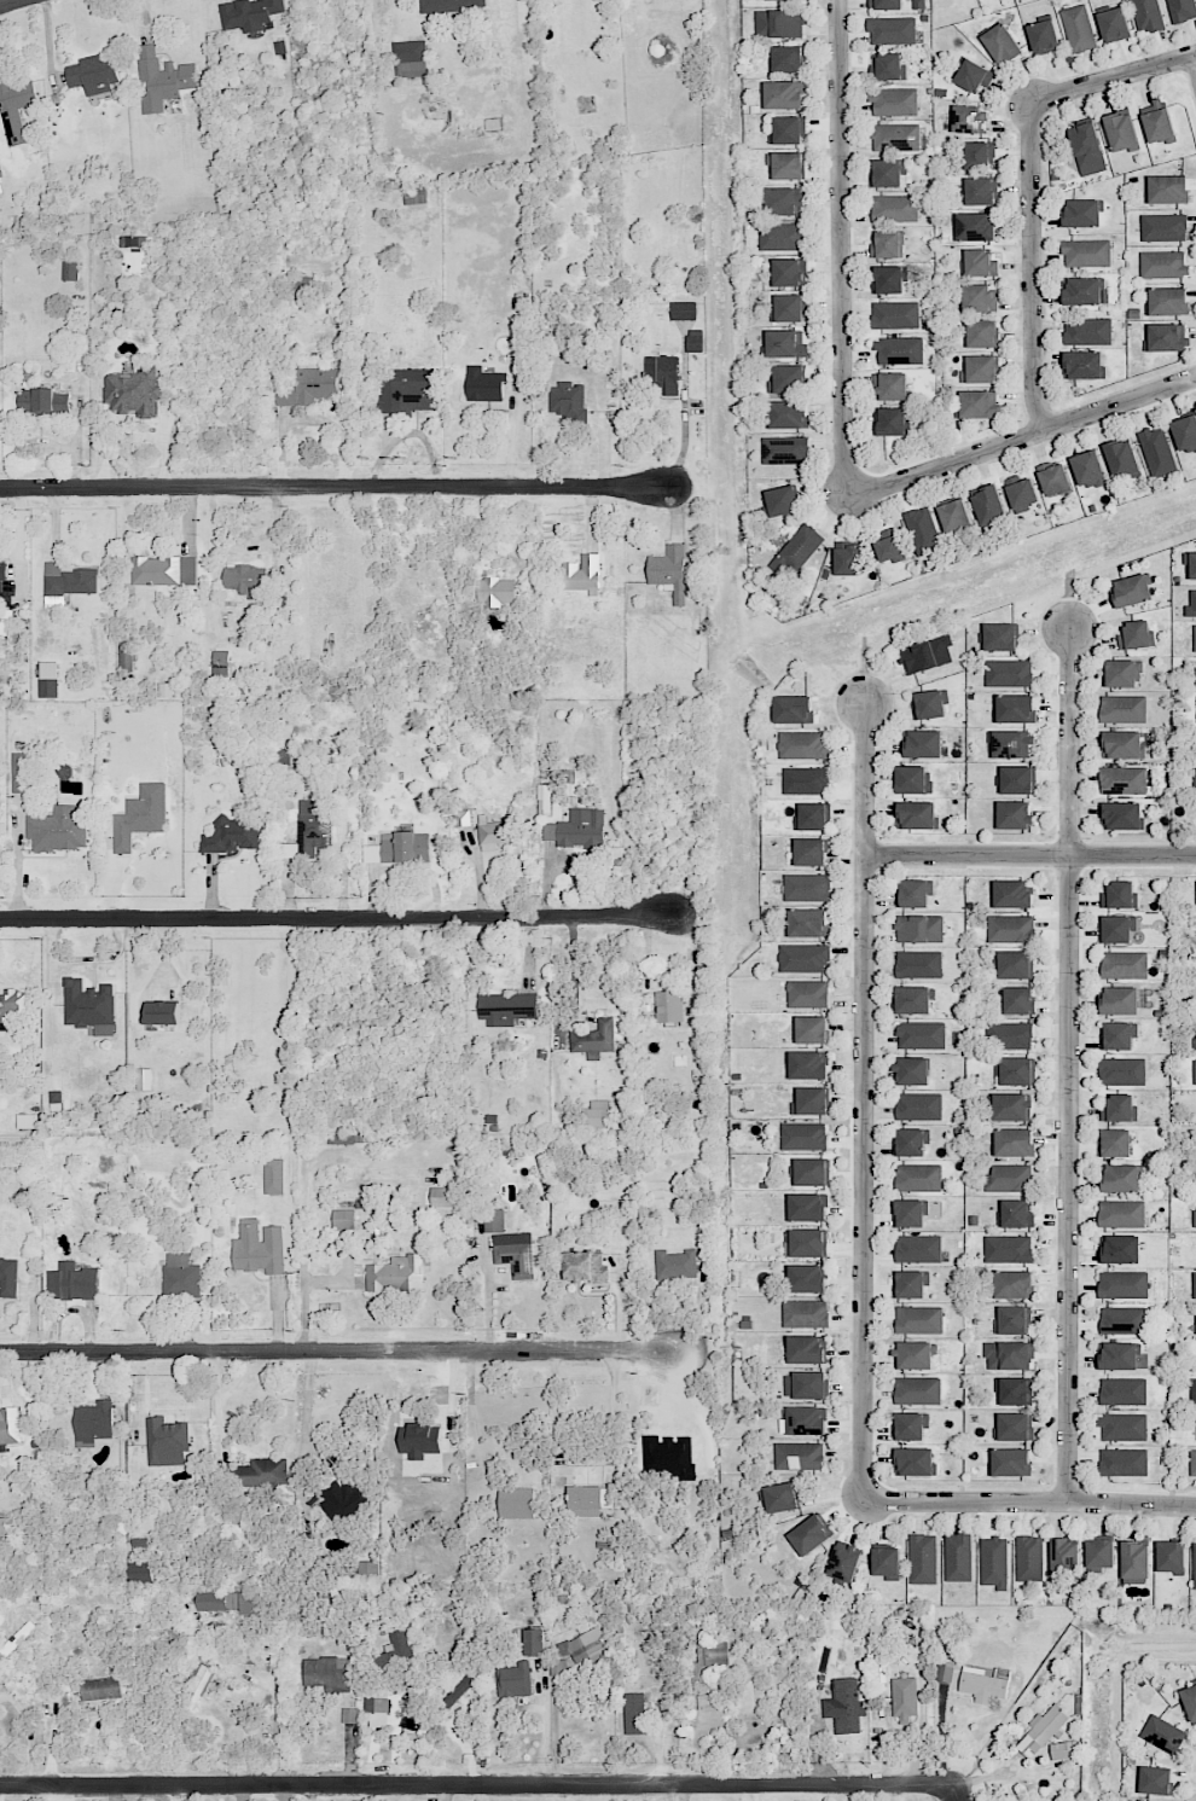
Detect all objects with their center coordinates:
building: (773, 0)
road: (10, 2)
road: (399, 4)
building: (451, 5)
building: (886, 5)
building: (1182, 10)
building: (250, 13)
building: (1146, 14)
building: (779, 24)
building: (1114, 24)
building: (1078, 28)
building: (892, 30)
building: (1044, 36)
building: (1001, 43)
building: (410, 58)
building: (788, 59)
building: (888, 66)
building: (93, 74)
building: (974, 76)
building: (162, 79)
building: (782, 94)
building: (894, 101)
building: (16, 106)
building: (969, 118)
building: (1156, 121)
building: (785, 130)
building: (1121, 132)
building: (895, 136)
building: (1087, 147)
building: (976, 155)
building: (785, 164)
building: (887, 173)
road: (1030, 181)
building: (0, 182)
building: (1167, 188)
building: (979, 191)
building: (414, 196)
building: (782, 202)
building: (894, 208)
building: (1081, 213)
building: (975, 226)
building: (1163, 227)
building: (782, 236)
building: (887, 244)
road: (841, 245)
building: (1086, 252)
building: (979, 262)
building: (1163, 265)
building: (789, 272)
building: (888, 279)
building: (300, 285)
building: (1084, 291)
building: (979, 298)
building: (788, 308)
building: (683, 310)
building: (895, 314)
building: (1087, 331)
building: (982, 333)
building: (1166, 337)
building: (695, 339)
building: (784, 344)
building: (899, 350)
building: (1084, 365)
building: (981, 368)
building: (663, 373)
building: (786, 379)
building: (484, 384)
building: (308, 387)
building: (893, 387)
building: (406, 391)
building: (134, 393)
building: (42, 400)
building: (569, 402)
building: (979, 403)
building: (789, 414)
building: (890, 422)
building: (1185, 434)
road: (1024, 437)
building: (784, 451)
building: (1157, 452)
building: (1122, 458)
building: (1087, 469)
building: (1053, 477)
road: (332, 490)
building: (1021, 492)
building: (782, 500)
building: (988, 506)
building: (954, 516)
building: (922, 530)
building: (889, 544)
building: (800, 547)
building: (848, 559)
building: (1191, 565)
building: (163, 570)
building: (669, 570)
building: (2, 571)
building: (582, 574)
building: (245, 579)
building: (66, 582)
building: (495, 591)
building: (1131, 591)
building: (1191, 604)
building: (1134, 634)
building: (1000, 637)
building: (1195, 638)
building: (927, 655)
building: (124, 656)
building: (221, 664)
building: (1009, 673)
building: (1122, 673)
building: (1195, 673)
building: (48, 679)
building: (928, 704)
building: (1015, 708)
building: (1124, 708)
building: (794, 709)
building: (922, 744)
building: (1011, 744)
building: (1121, 744)
building: (803, 745)
building: (22, 772)
building: (912, 779)
building: (1017, 779)
building: (1124, 779)
building: (806, 780)
building: (1195, 780)
building: (916, 814)
building: (1014, 814)
building: (140, 815)
building: (1121, 815)
building: (461, 817)
building: (811, 817)
building: (58, 829)
building: (577, 829)
building: (309, 831)
building: (495, 833)
building: (232, 835)
building: (399, 848)
building: (809, 852)
road: (1030, 855)
building: (807, 887)
building: (912, 893)
building: (1012, 894)
building: (1120, 895)
road: (339, 919)
building: (807, 923)
building: (919, 929)
building: (1011, 929)
building: (1120, 929)
building: (803, 958)
building: (919, 964)
building: (1015, 964)
building: (1125, 964)
building: (807, 993)
building: (912, 1000)
building: (1017, 1000)
building: (1119, 1000)
building: (12, 1005)
building: (89, 1006)
building: (668, 1006)
building: (506, 1007)
road: (573, 1010)
building: (163, 1012)
building: (812, 1029)
building: (921, 1035)
building: (1010, 1035)
building: (1116, 1035)
building: (594, 1039)
road: (1068, 1064)
building: (808, 1065)
building: (912, 1070)
building: (1015, 1070)
building: (1121, 1071)
building: (145, 1079)
building: (56, 1096)
building: (809, 1100)
road: (864, 1100)
building: (918, 1105)
building: (1011, 1106)
building: (1120, 1108)
building: (597, 1114)
building: (28, 1121)
building: (803, 1135)
building: (911, 1141)
building: (1014, 1141)
building: (1115, 1143)
building: (811, 1172)
building: (273, 1177)
building: (919, 1177)
building: (1009, 1178)
building: (1121, 1178)
building: (443, 1197)
building: (808, 1207)
building: (908, 1213)
building: (1121, 1213)
building: (1017, 1214)
building: (344, 1219)
building: (1194, 1219)
building: (493, 1220)
building: (807, 1242)
building: (259, 1248)
building: (918, 1248)
building: (1008, 1248)
building: (1120, 1249)
building: (515, 1254)
building: (675, 1265)
building: (586, 1267)
building: (396, 1274)
building: (180, 1276)
building: (8, 1277)
building: (806, 1278)
building: (72, 1282)
building: (910, 1284)
building: (1014, 1284)
building: (1194, 1284)
building: (1122, 1285)
building: (806, 1313)
building: (919, 1319)
building: (1124, 1319)
building: (1011, 1320)
building: (806, 1349)
building: (913, 1354)
building: (1009, 1355)
building: (1117, 1355)
road: (338, 1356)
building: (805, 1384)
building: (917, 1390)
building: (1015, 1390)
building: (1124, 1392)
building: (1192, 1392)
building: (94, 1421)
building: (803, 1421)
building: (908, 1425)
building: (8, 1427)
road: (304, 1427)
building: (1012, 1427)
building: (1122, 1427)
building: (167, 1441)
building: (799, 1456)
road: (588, 1459)
building: (915, 1462)
building: (1011, 1462)
building: (1124, 1462)
building: (1192, 1462)
building: (265, 1472)
building: (780, 1497)
building: (592, 1499)
building: (344, 1500)
building: (516, 1503)
road: (1033, 1503)
building: (811, 1534)
building: (1099, 1553)
building: (1064, 1556)
building: (1171, 1556)
building: (958, 1557)
building: (1028, 1557)
building: (923, 1558)
building: (844, 1561)
building: (994, 1562)
building: (1136, 1562)
building: (887, 1563)
building: (1194, 1564)
building: (140, 1571)
building: (368, 1573)
building: (230, 1602)
building: (27, 1628)
building: (534, 1642)
building: (585, 1646)
building: (249, 1655)
building: (709, 1655)
building: (395, 1658)
building: (558, 1667)
building: (945, 1671)
building: (513, 1680)
building: (985, 1684)
building: (199, 1685)
building: (100, 1689)
building: (458, 1690)
building: (904, 1697)
building: (1190, 1702)
building: (376, 1704)
building: (844, 1706)
building: (634, 1713)
building: (349, 1715)
building: (1043, 1730)
road: (27, 1731)
building: (1163, 1733)
road: (553, 1736)
building: (1064, 1750)
road: (982, 1776)
building: (1155, 1779)
road: (478, 1783)
road: (953, 1797)

